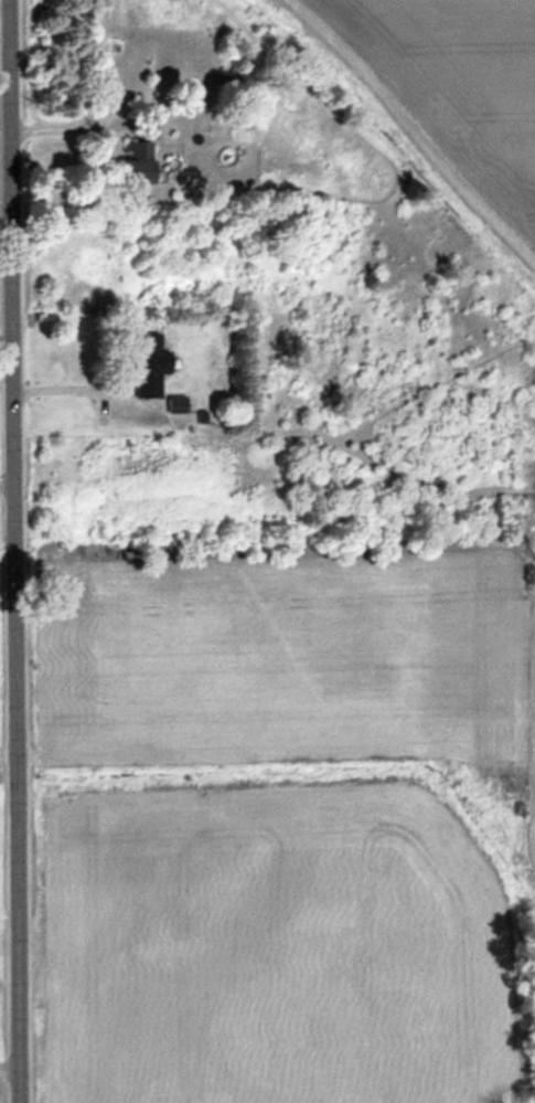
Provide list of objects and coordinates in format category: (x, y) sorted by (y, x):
building: (140, 159)
building: (152, 362)
road: (10, 551)

